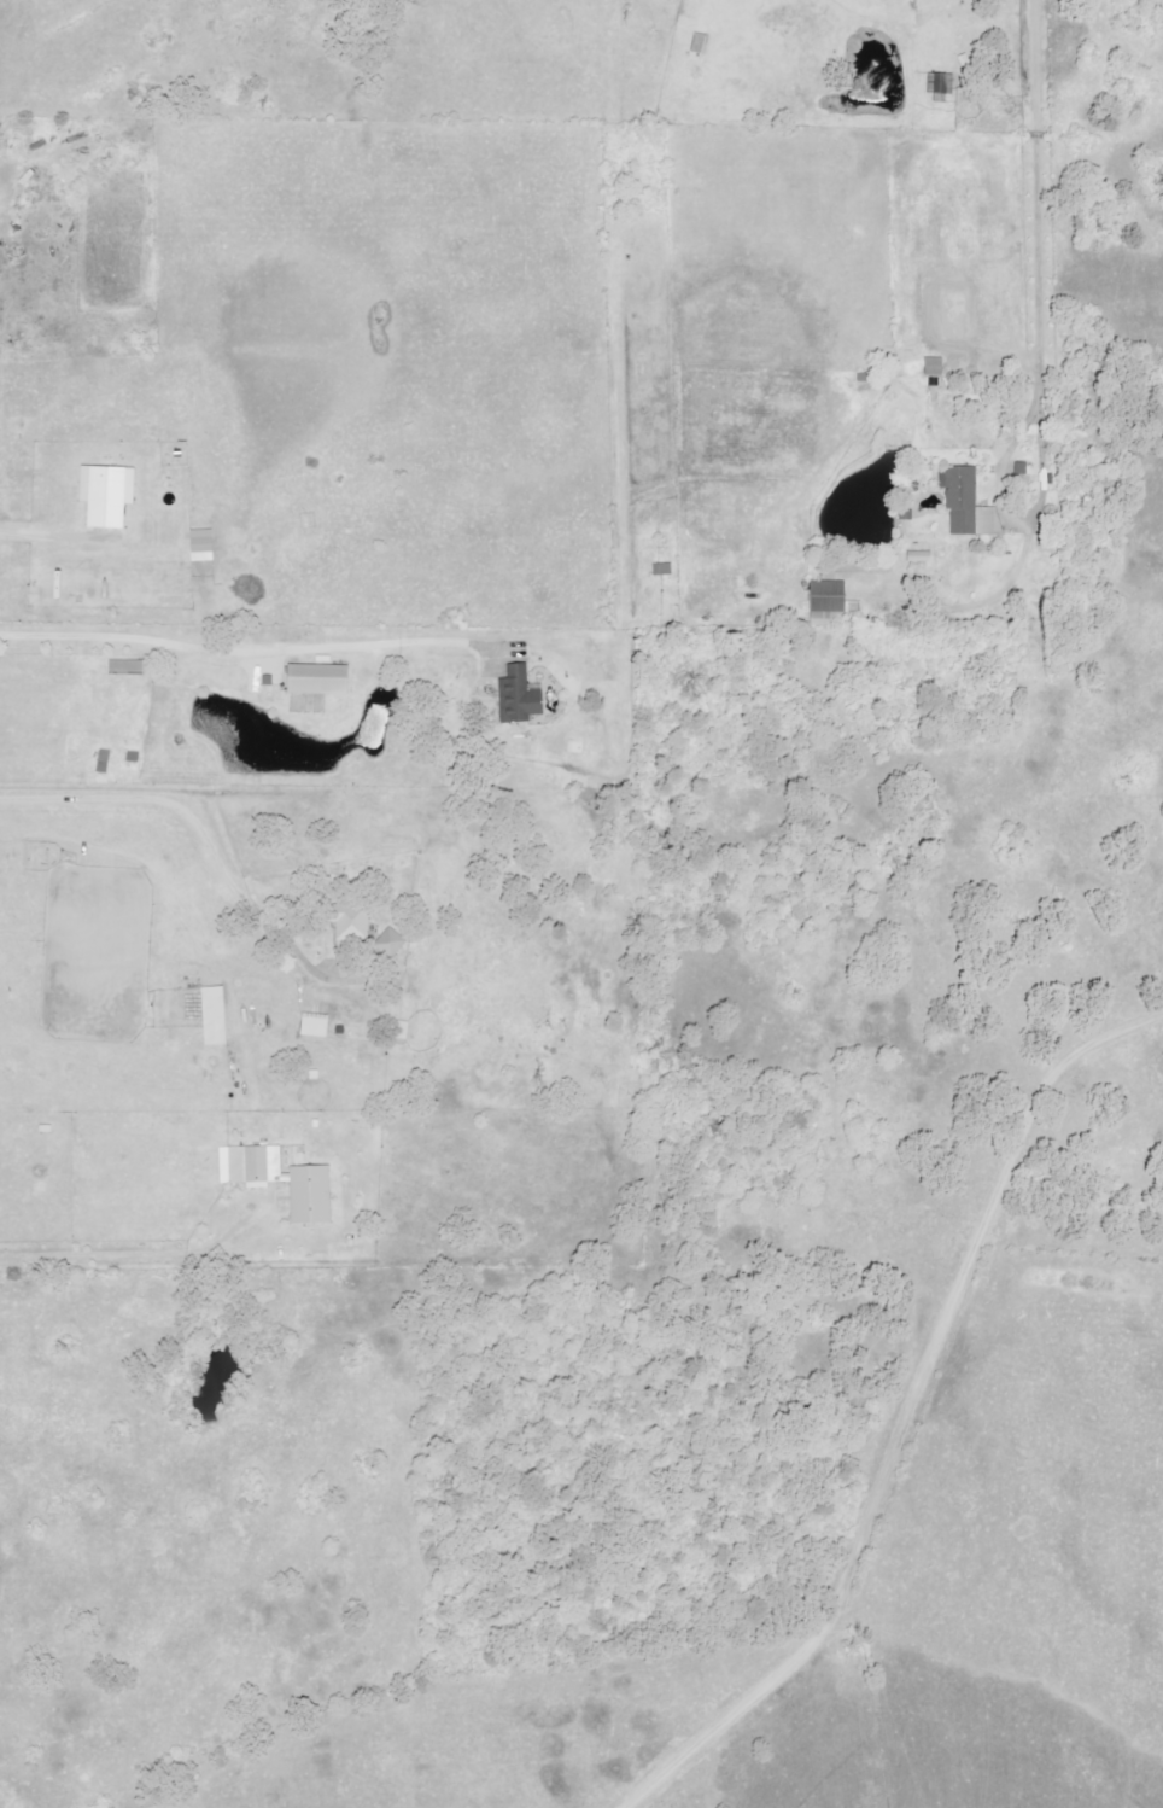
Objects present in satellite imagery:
road: (1033, 59)
building: (939, 83)
building: (930, 366)
road: (1035, 384)
building: (101, 474)
building: (957, 498)
road: (46, 517)
building: (197, 544)
building: (826, 602)
road: (246, 651)
building: (121, 667)
building: (513, 676)
building: (311, 678)
road: (160, 786)
building: (352, 921)
building: (391, 943)
building: (216, 1014)
building: (317, 1025)
building: (397, 1027)
building: (287, 1179)
road: (141, 1254)

